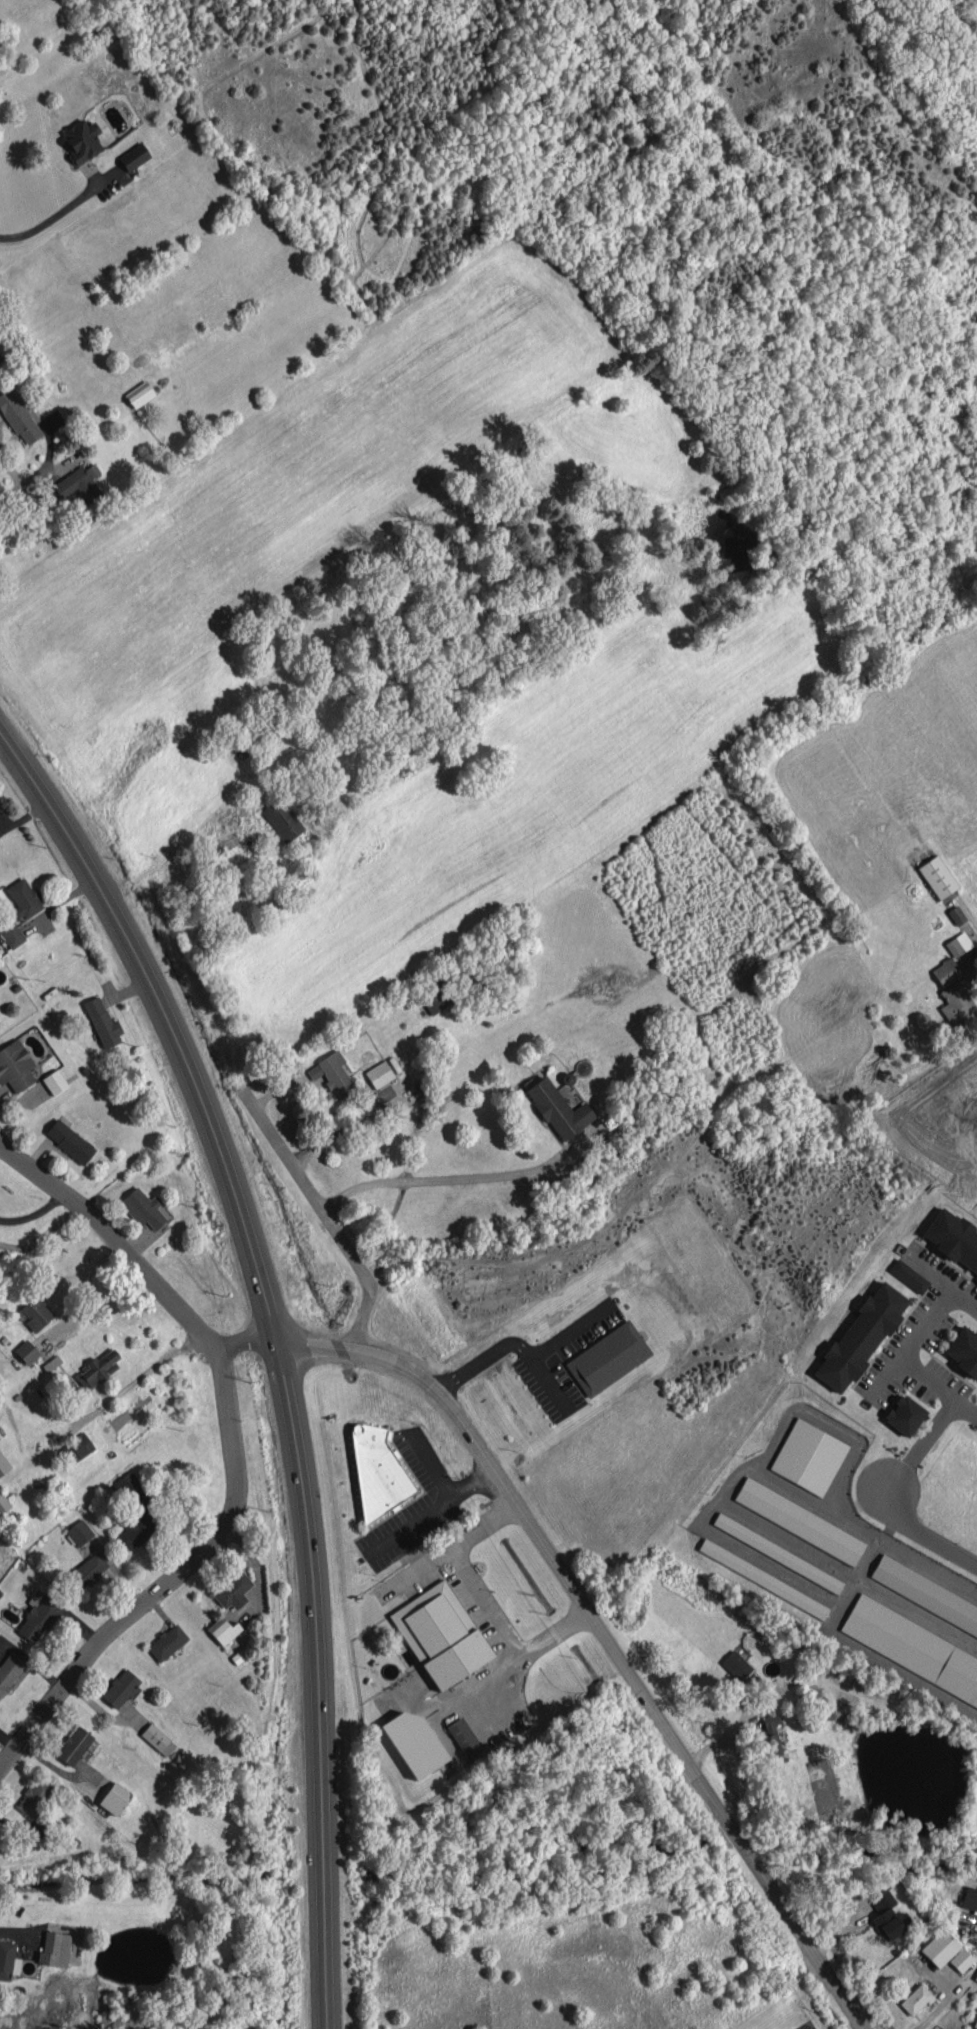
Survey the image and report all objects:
building: (81, 140)
building: (133, 156)
road: (51, 219)
building: (0, 358)
building: (139, 394)
building: (18, 417)
building: (77, 485)
road: (36, 505)
building: (282, 820)
building: (937, 876)
building: (23, 898)
building: (11, 934)
building: (958, 944)
building: (953, 993)
building: (435, 998)
building: (102, 1022)
building: (15, 1065)
building: (332, 1073)
building: (378, 1073)
building: (54, 1081)
building: (558, 1109)
road: (336, 1131)
building: (69, 1141)
road: (456, 1178)
building: (141, 1208)
road: (33, 1213)
road: (329, 1218)
road: (112, 1238)
building: (953, 1238)
building: (908, 1275)
road: (74, 1292)
building: (34, 1313)
road: (565, 1330)
building: (860, 1336)
road: (912, 1338)
road: (507, 1339)
road: (245, 1344)
road: (277, 1349)
building: (963, 1350)
building: (25, 1351)
building: (608, 1358)
building: (100, 1367)
road: (961, 1410)
building: (904, 1415)
building: (74, 1449)
building: (3, 1464)
road: (428, 1464)
building: (377, 1472)
building: (3, 1503)
road: (884, 1503)
road: (430, 1508)
building: (798, 1521)
building: (134, 1531)
building: (79, 1532)
building: (777, 1552)
building: (87, 1570)
road: (171, 1578)
building: (763, 1578)
building: (232, 1590)
building: (925, 1594)
road: (483, 1599)
building: (38, 1616)
building: (222, 1630)
building: (439, 1636)
road: (604, 1636)
building: (166, 1642)
building: (912, 1647)
building: (9, 1670)
building: (120, 1688)
building: (770, 1737)
building: (464, 1738)
building: (157, 1739)
road: (726, 1739)
building: (413, 1742)
building: (73, 1745)
building: (33, 1796)
building: (114, 1798)
building: (969, 1899)
building: (887, 1916)
building: (939, 1947)
building: (54, 1948)
building: (960, 1959)
building: (8, 1960)
building: (975, 1976)
building: (915, 1999)
building: (975, 2022)

